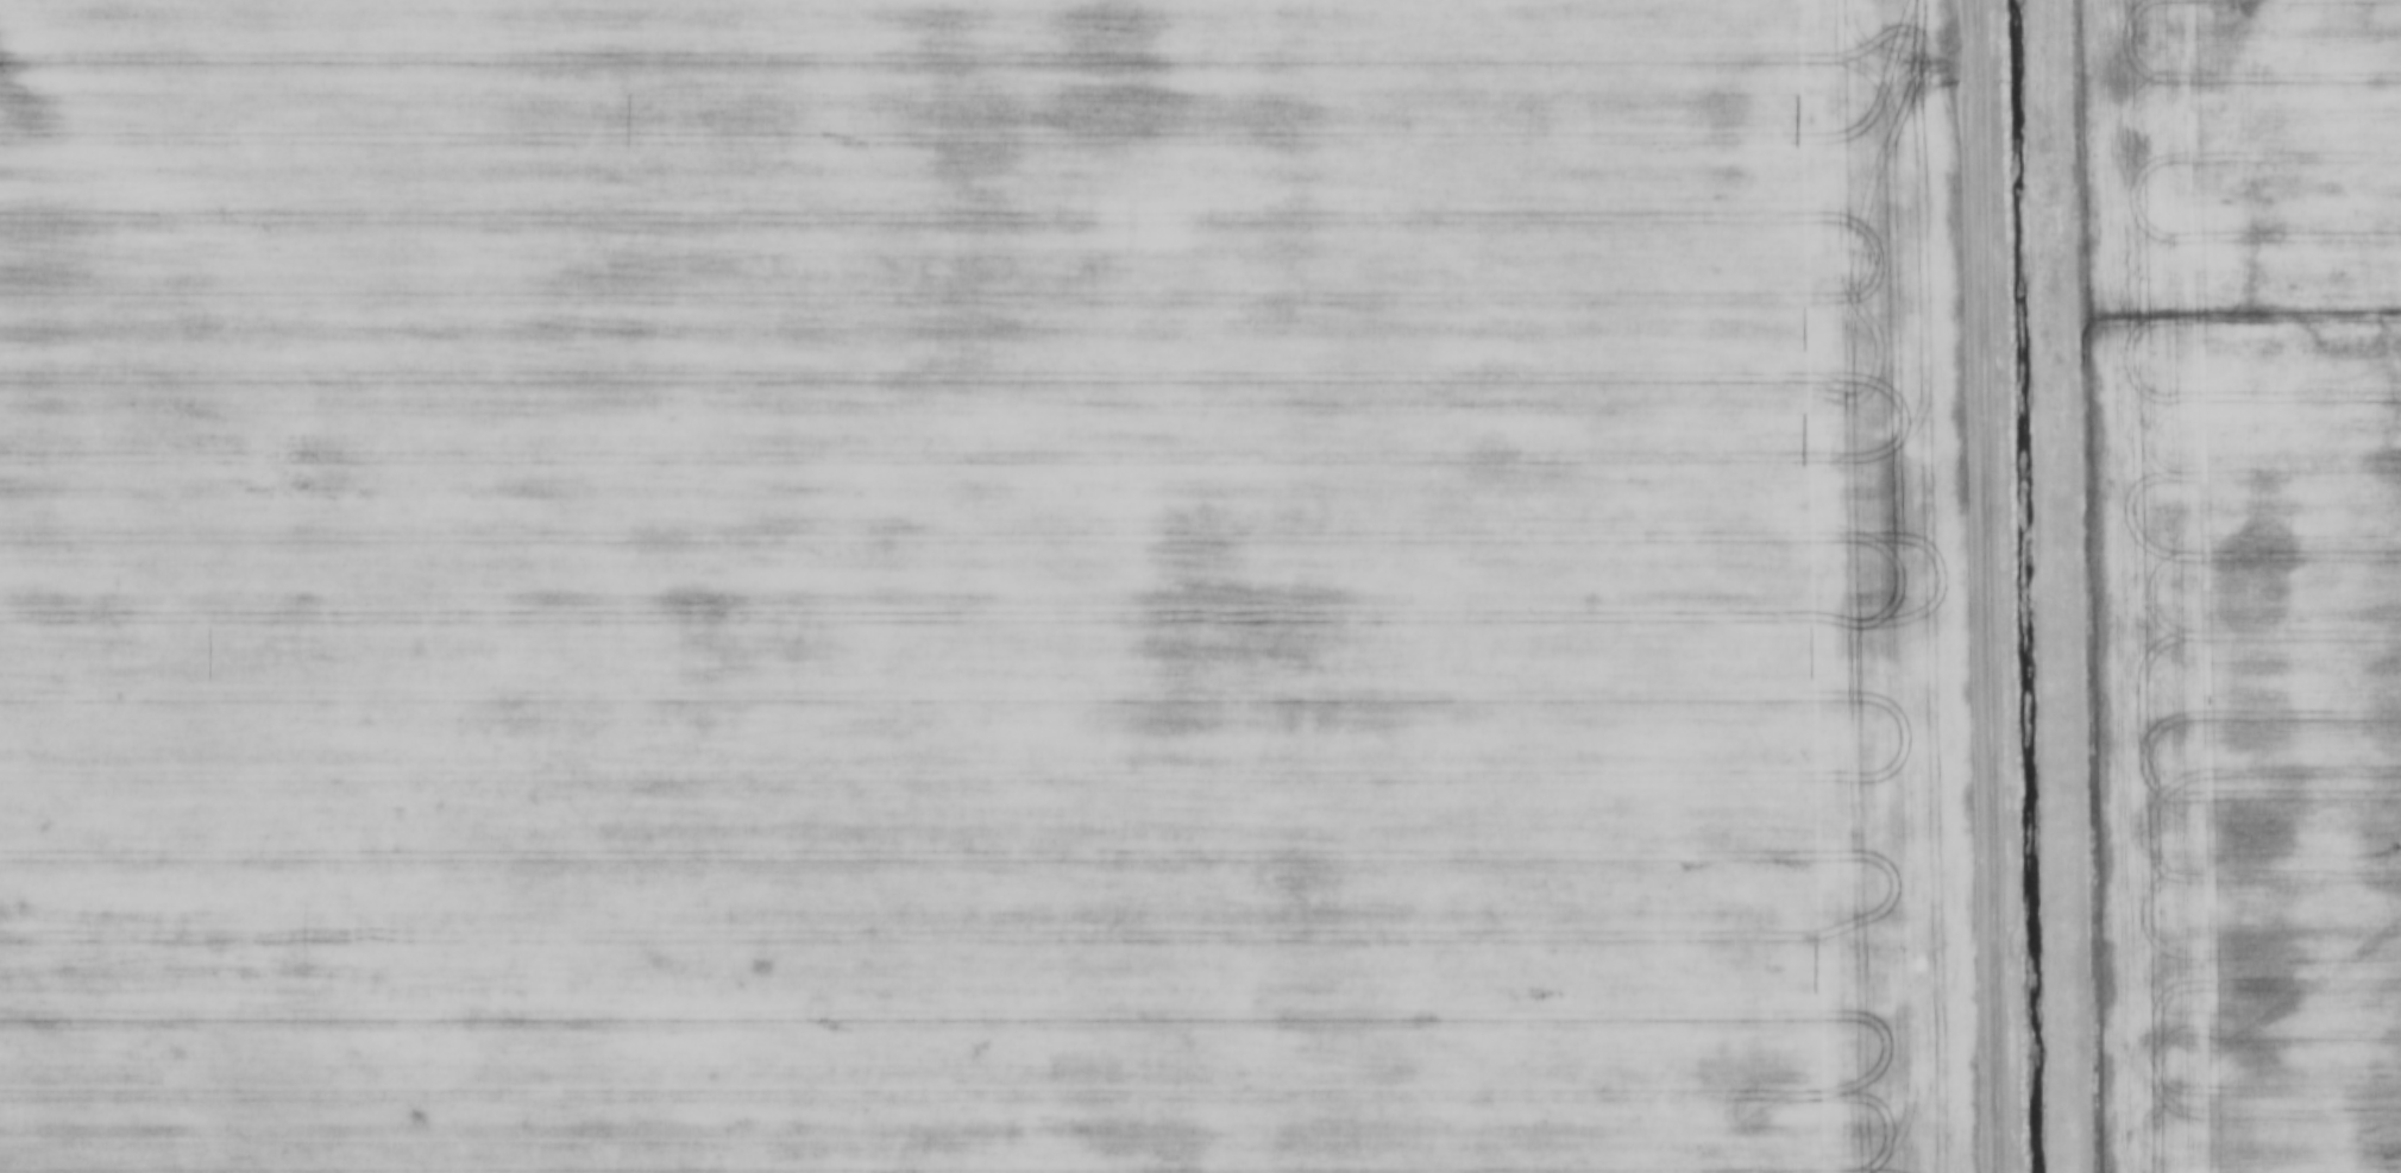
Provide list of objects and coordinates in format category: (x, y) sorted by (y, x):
road: (1991, 586)

